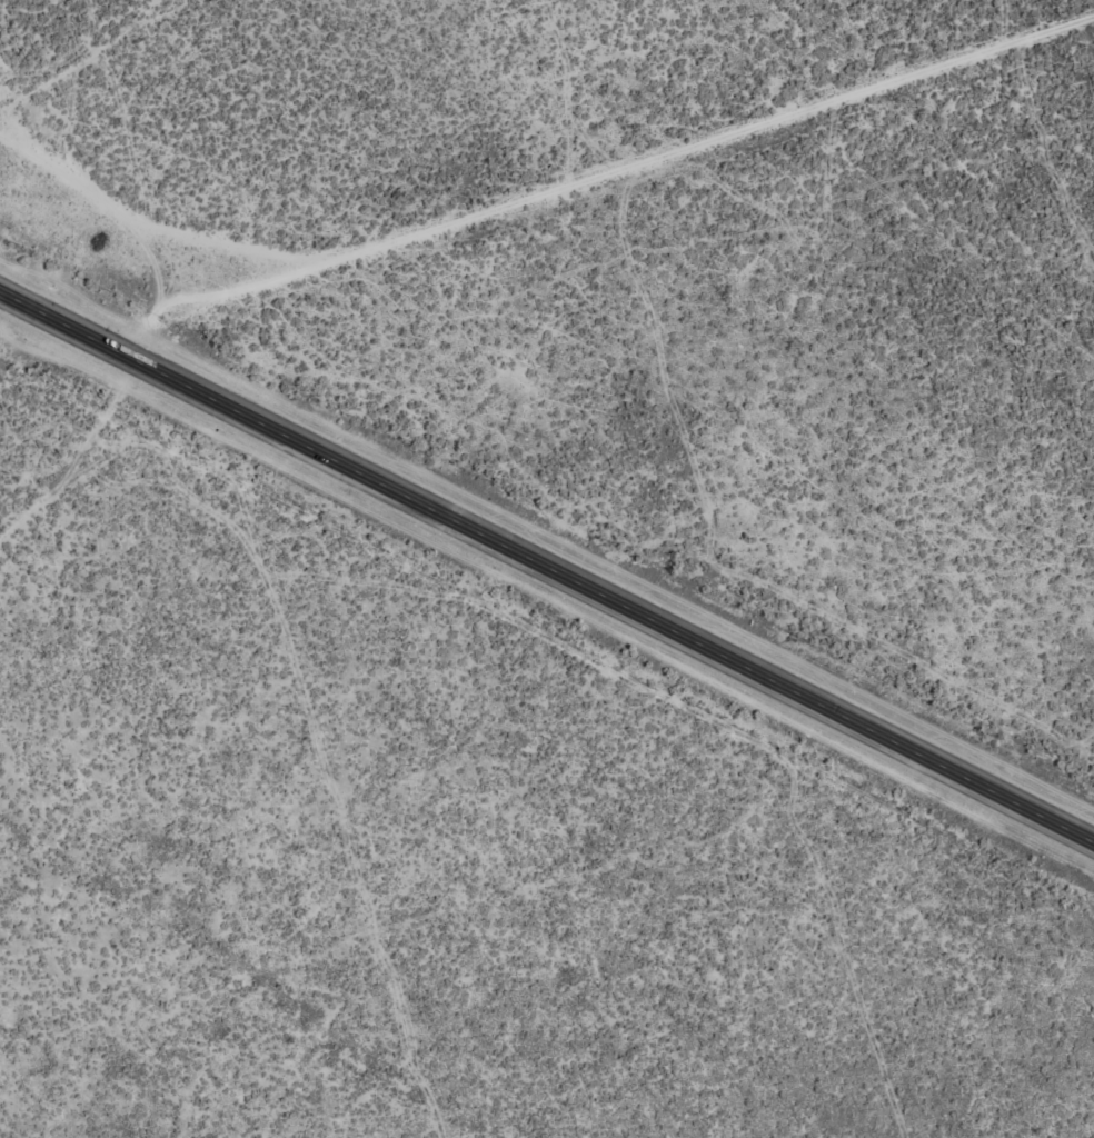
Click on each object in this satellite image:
road: (878, 60)
road: (109, 178)
road: (608, 206)
road: (547, 561)

